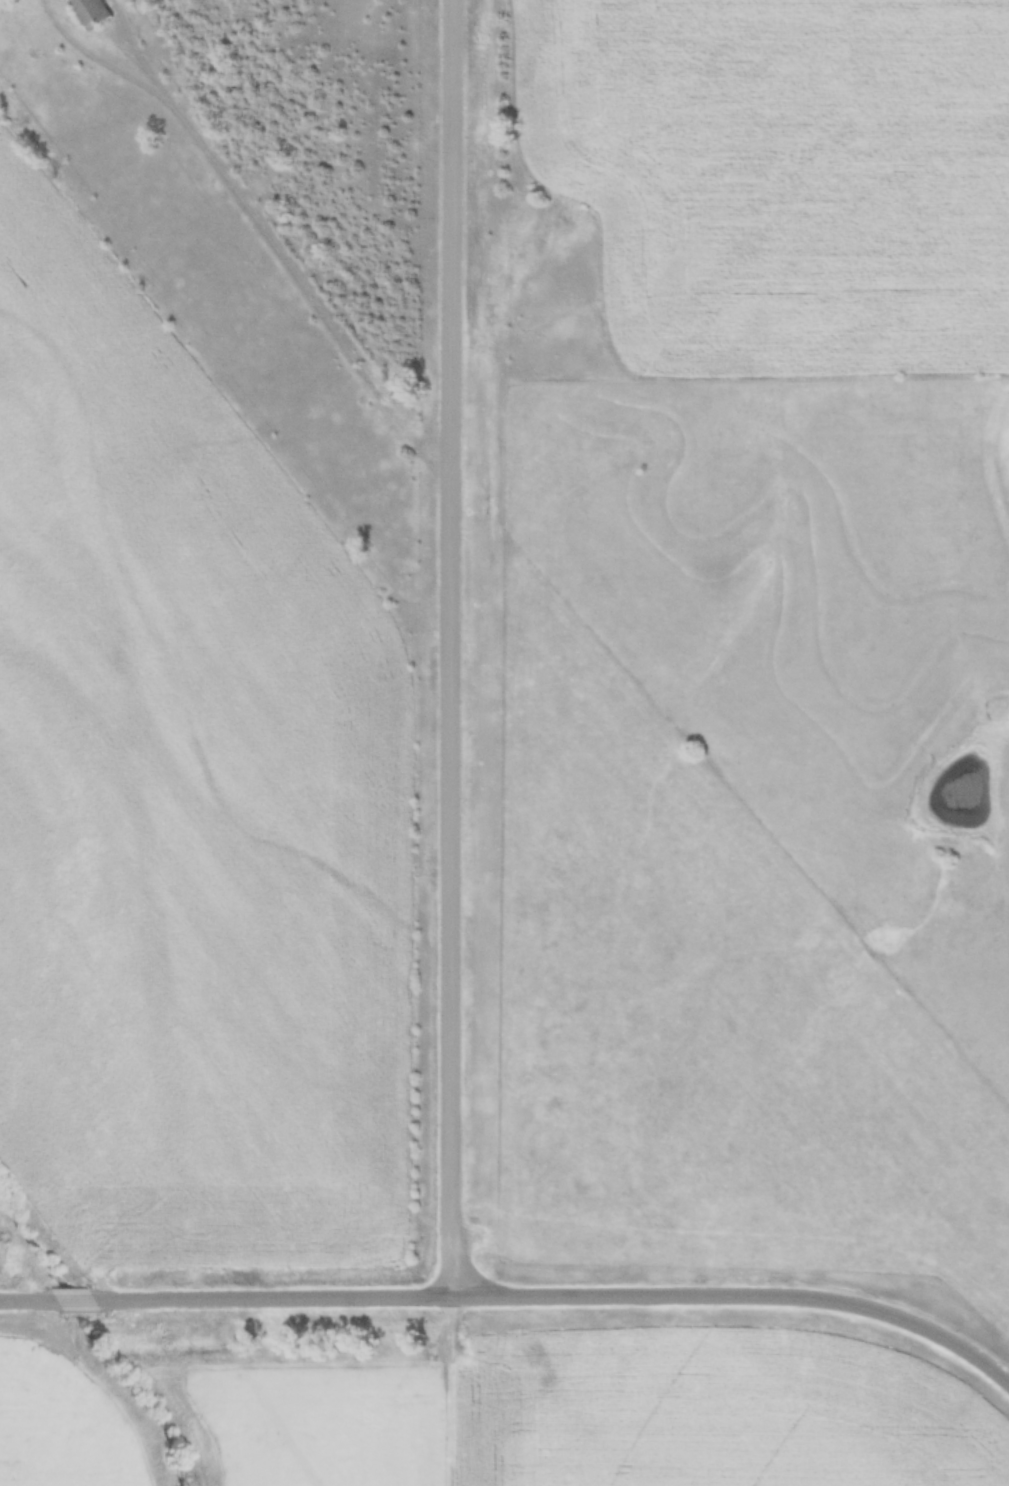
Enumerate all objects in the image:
building: (88, 11)
road: (298, 291)
road: (450, 646)
road: (560, 1294)
road: (28, 1298)
road: (74, 1298)
river: (103, 1342)

